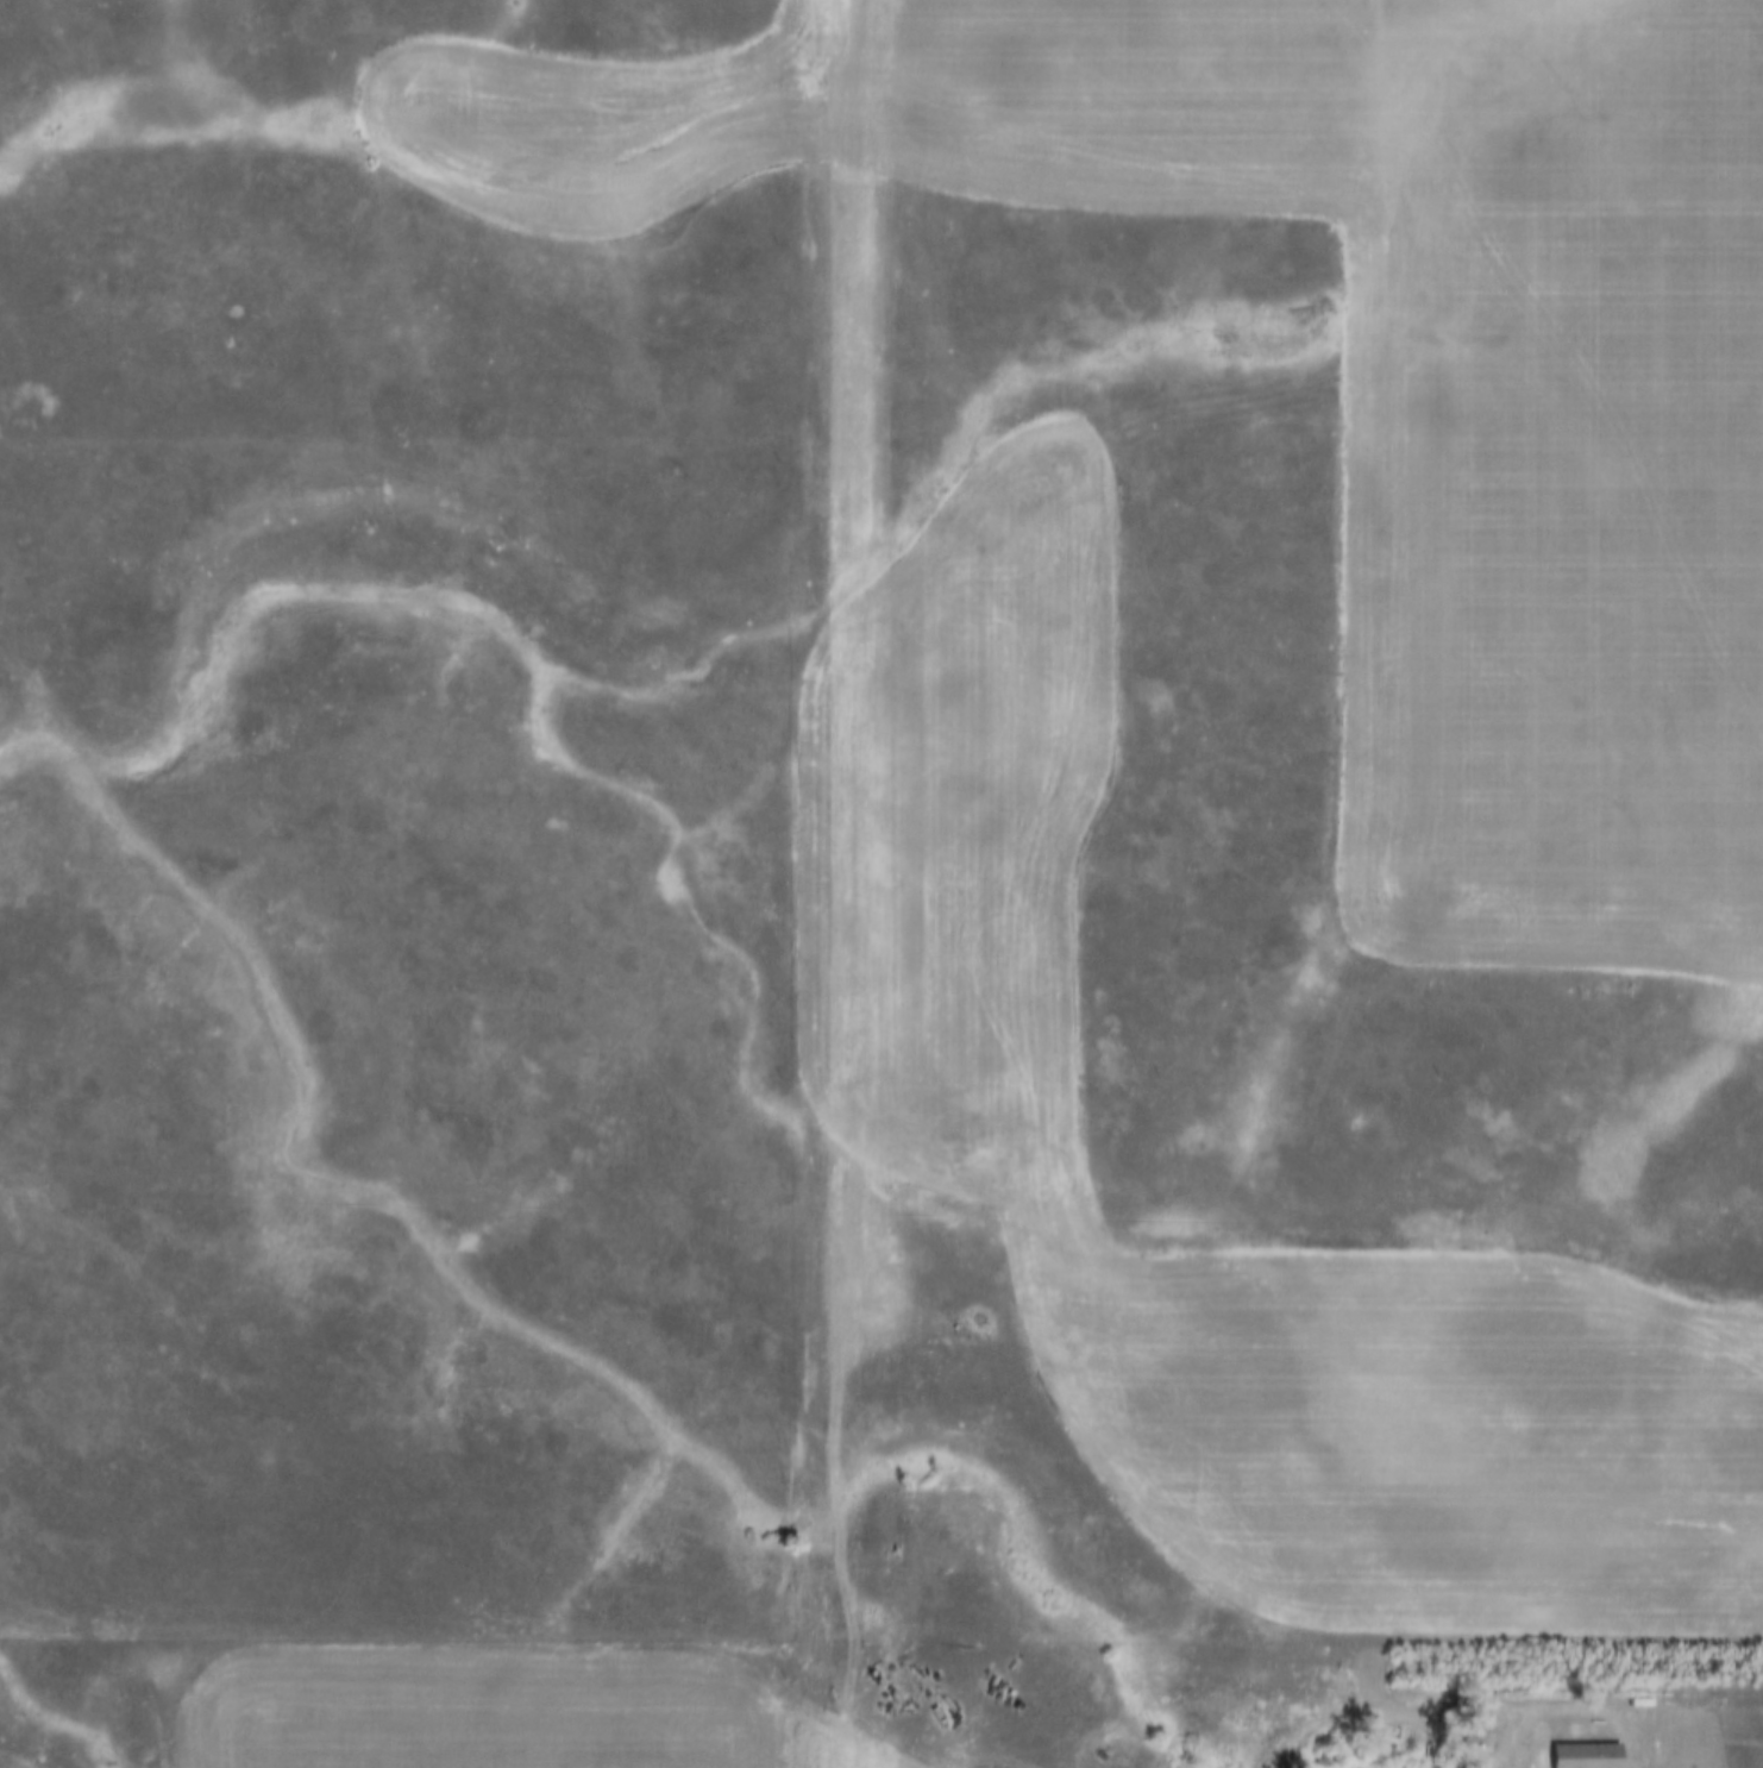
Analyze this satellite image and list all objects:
building: (1472, 1719)
building: (1585, 1754)

